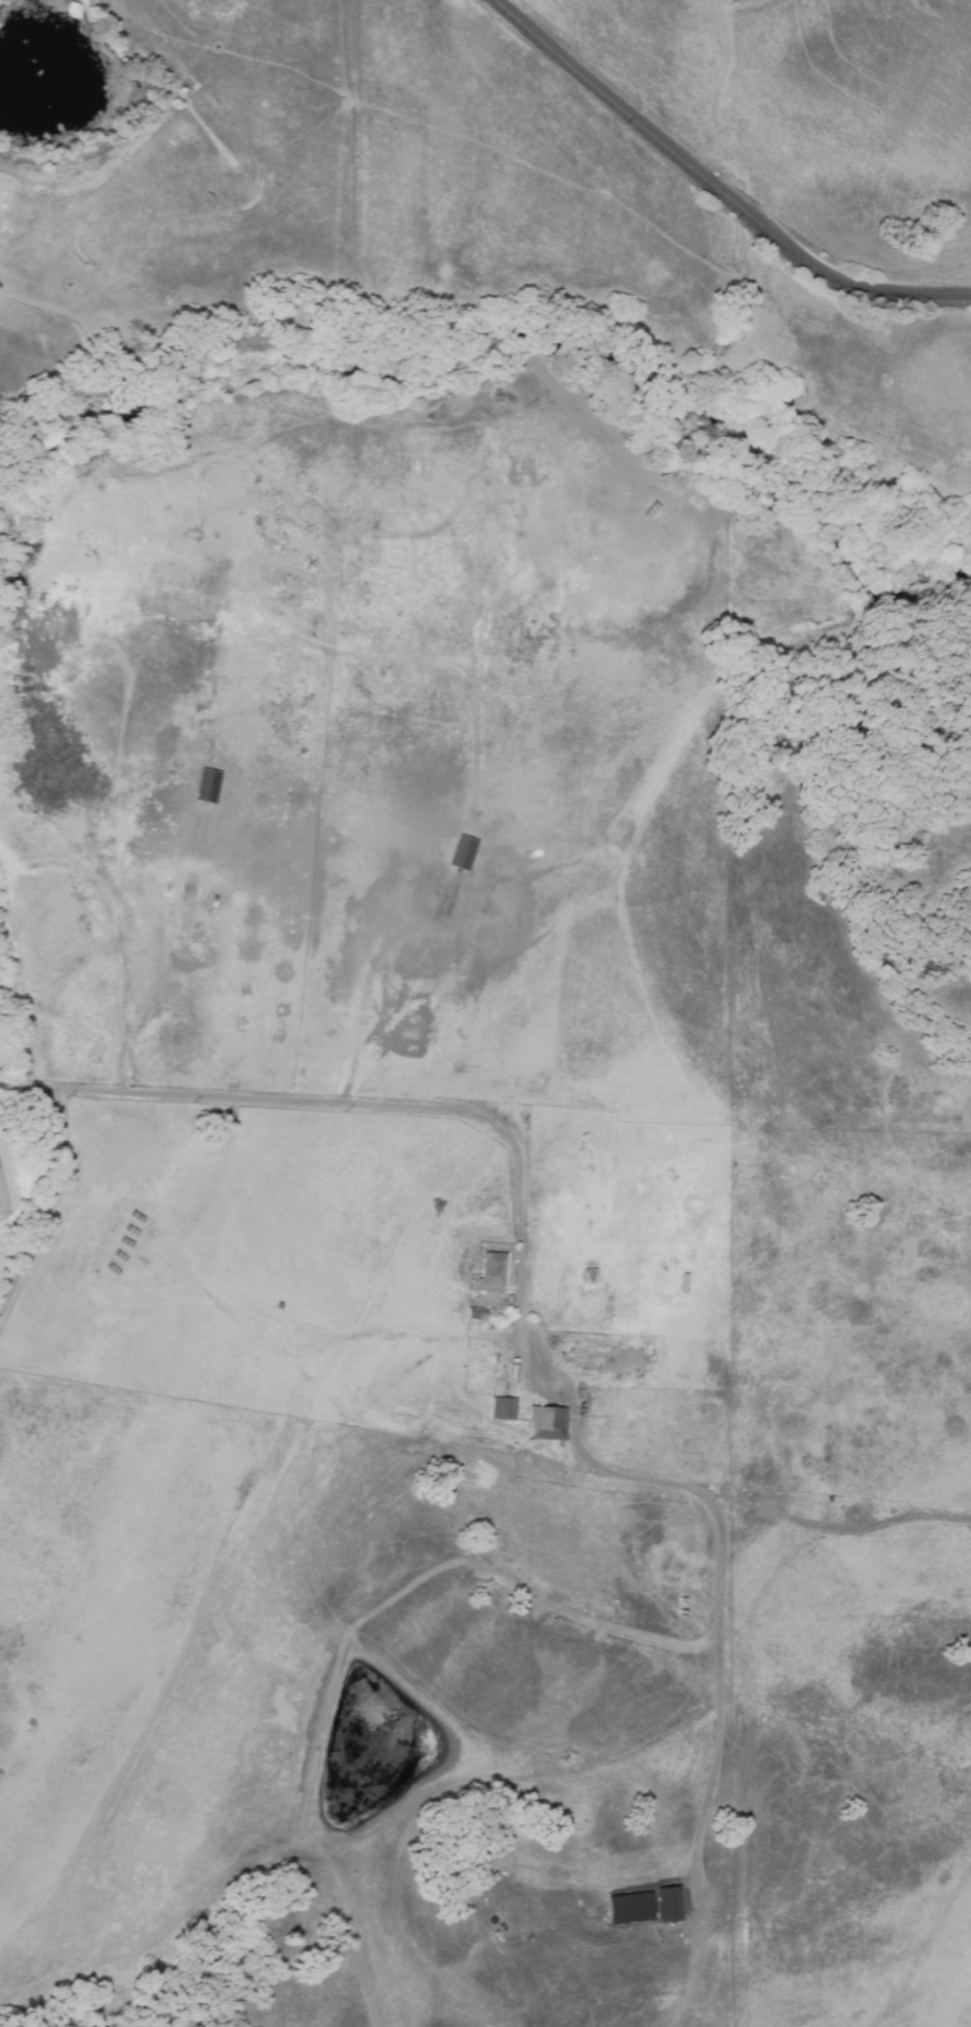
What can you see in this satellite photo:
road: (718, 185)
building: (406, 1035)
road: (42, 1201)
building: (488, 1269)
building: (472, 1313)
road: (525, 1324)
building: (502, 1408)
building: (545, 1423)
building: (648, 1901)

